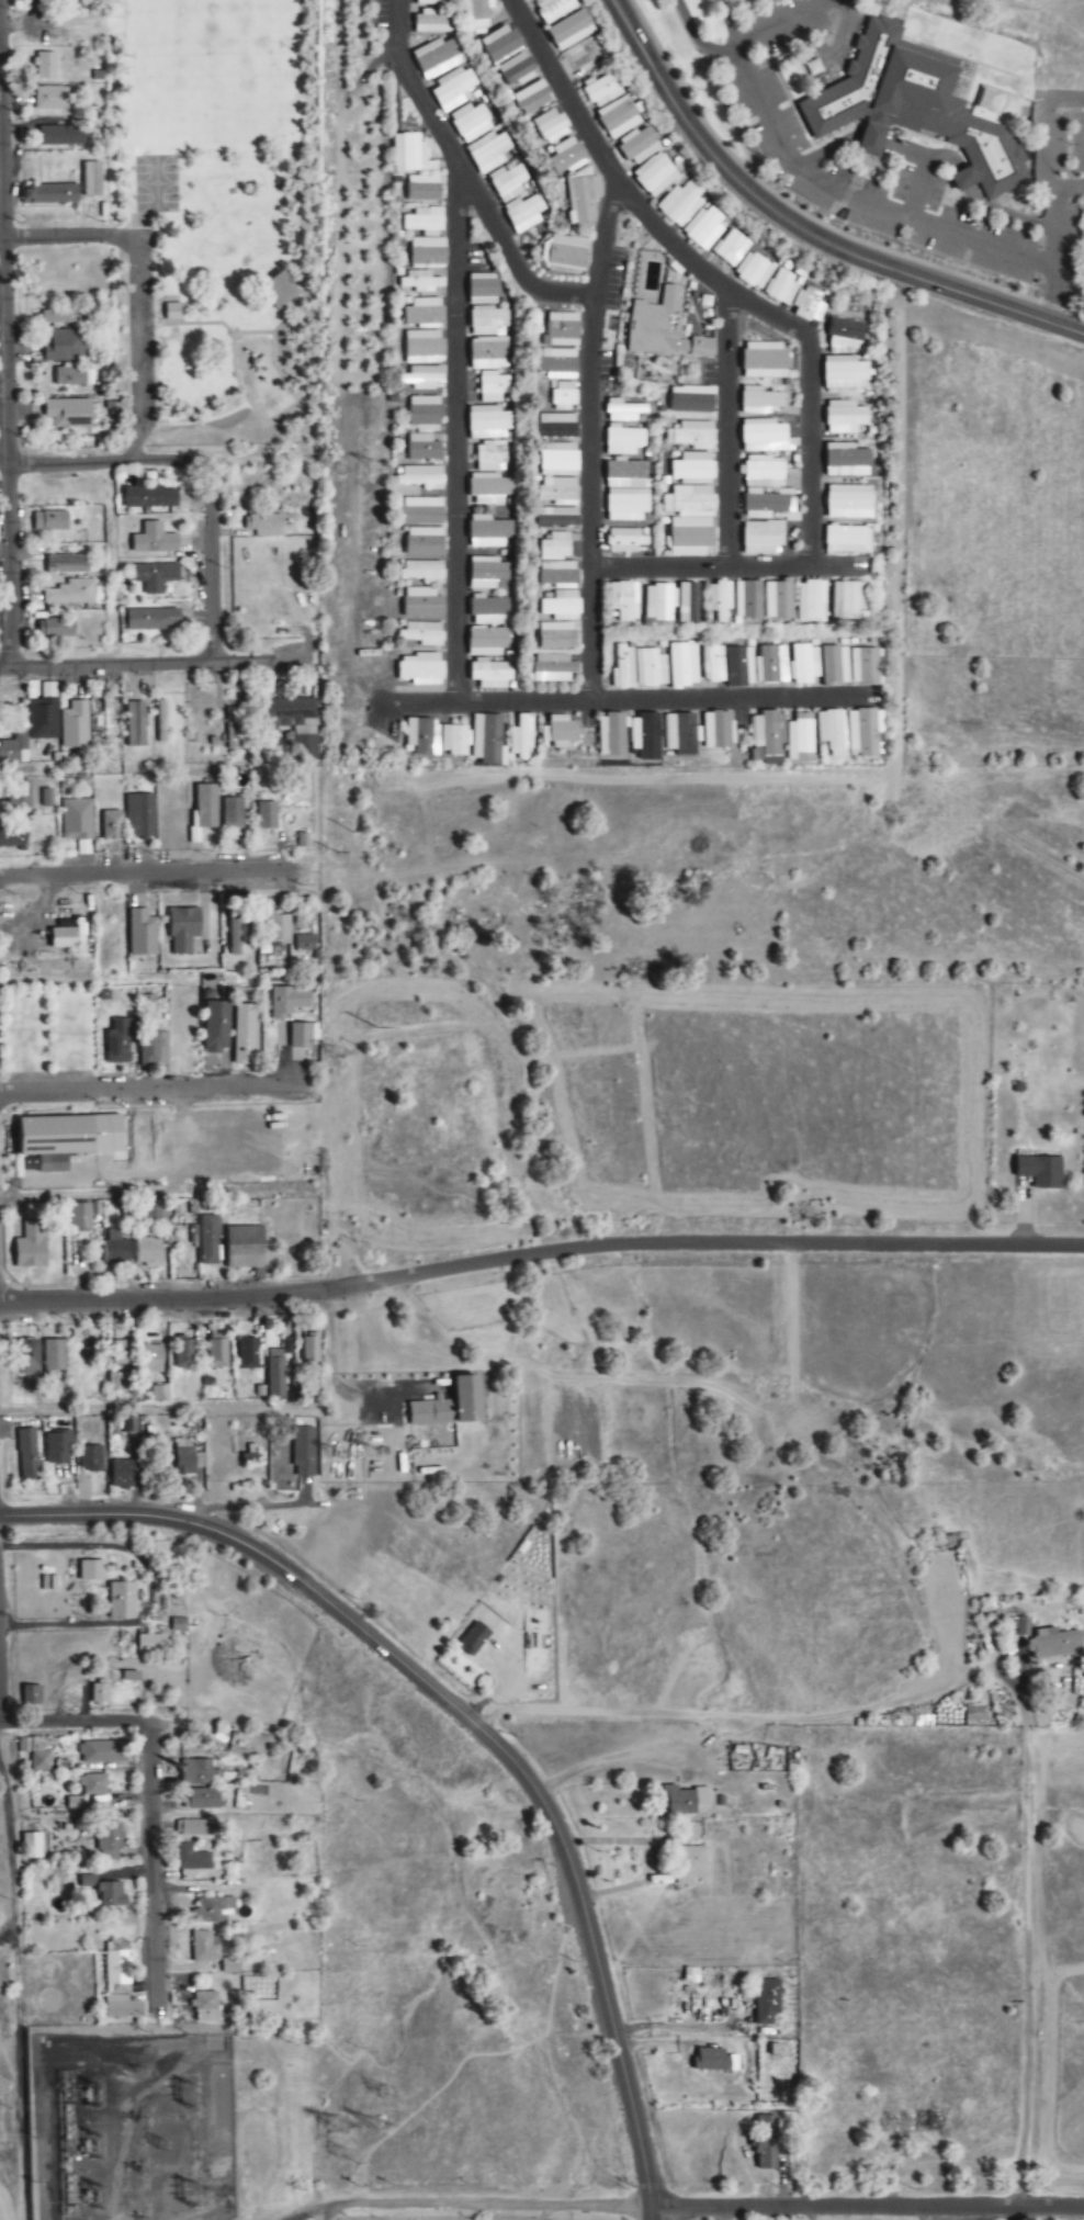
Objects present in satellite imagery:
building: (425, 2)
building: (553, 9)
building: (478, 13)
building: (431, 23)
road: (780, 24)
road: (1, 25)
road: (730, 26)
road: (840, 27)
building: (569, 31)
road: (695, 35)
building: (500, 44)
building: (585, 57)
building: (437, 58)
building: (47, 66)
building: (517, 70)
building: (453, 90)
building: (601, 91)
building: (532, 98)
building: (52, 99)
building: (911, 108)
building: (618, 117)
building: (471, 123)
building: (551, 126)
building: (61, 136)
building: (639, 146)
building: (488, 153)
building: (410, 155)
building: (568, 157)
parking lot: (798, 162)
park: (156, 169)
road: (462, 176)
building: (655, 176)
building: (92, 180)
building: (507, 183)
building: (422, 190)
building: (49, 195)
road: (628, 196)
park: (157, 198)
building: (583, 198)
building: (680, 204)
road: (885, 211)
building: (523, 213)
park: (212, 221)
building: (424, 223)
building: (704, 229)
road: (800, 230)
road: (67, 239)
building: (731, 248)
building: (565, 253)
building: (753, 271)
building: (421, 285)
building: (781, 286)
building: (275, 290)
building: (483, 290)
building: (808, 306)
building: (174, 311)
building: (422, 313)
building: (61, 318)
road: (214, 323)
building: (488, 323)
building: (664, 329)
building: (562, 330)
parking lot: (140, 331)
road: (8, 334)
building: (846, 335)
building: (61, 347)
building: (424, 348)
road: (134, 349)
building: (488, 353)
building: (765, 361)
building: (557, 364)
building: (844, 374)
building: (422, 379)
building: (493, 386)
building: (564, 397)
building: (692, 401)
building: (760, 402)
building: (424, 412)
building: (623, 412)
building: (68, 414)
building: (845, 418)
road: (270, 421)
building: (488, 422)
building: (557, 427)
road: (726, 428)
road: (454, 432)
building: (693, 436)
building: (765, 437)
building: (623, 440)
road: (592, 443)
building: (422, 449)
road: (808, 451)
road: (5, 452)
building: (489, 457)
road: (112, 460)
building: (558, 460)
building: (847, 461)
power tower: (384, 469)
power tower: (346, 470)
building: (693, 470)
building: (420, 478)
building: (763, 488)
building: (489, 489)
building: (626, 492)
building: (558, 493)
building: (146, 497)
building: (690, 503)
building: (849, 504)
building: (420, 511)
building: (50, 522)
building: (263, 526)
building: (488, 532)
building: (690, 538)
building: (761, 539)
building: (154, 540)
building: (846, 540)
building: (624, 541)
building: (424, 542)
building: (555, 548)
road: (215, 561)
road: (112, 563)
building: (67, 565)
road: (727, 566)
building: (421, 572)
building: (488, 574)
building: (557, 575)
building: (155, 577)
building: (70, 594)
building: (720, 600)
building: (624, 601)
building: (779, 601)
building: (848, 601)
building: (747, 602)
building: (422, 604)
building: (660, 604)
building: (812, 604)
building: (561, 607)
building: (489, 610)
building: (153, 620)
building: (56, 624)
building: (424, 634)
building: (556, 636)
building: (488, 642)
road: (153, 664)
building: (714, 665)
building: (771, 665)
building: (804, 665)
building: (684, 666)
building: (836, 666)
building: (741, 667)
building: (865, 667)
building: (650, 668)
building: (552, 669)
building: (623, 669)
building: (419, 670)
building: (490, 675)
road: (628, 701)
building: (42, 719)
building: (106, 720)
building: (161, 721)
building: (135, 724)
building: (75, 725)
building: (233, 729)
building: (718, 730)
building: (561, 731)
building: (832, 732)
building: (681, 733)
building: (866, 733)
building: (612, 735)
building: (645, 735)
building: (422, 736)
building: (522, 736)
building: (769, 736)
building: (801, 739)
building: (454, 740)
building: (488, 740)
building: (14, 750)
building: (20, 797)
building: (203, 809)
building: (235, 813)
building: (139, 815)
building: (267, 815)
building: (76, 820)
building: (112, 825)
building: (13, 835)
building: (302, 841)
building: (82, 848)
road: (156, 876)
building: (279, 928)
building: (183, 929)
building: (142, 933)
building: (236, 933)
building: (68, 935)
building: (305, 946)
road: (126, 979)
building: (289, 1001)
building: (216, 1027)
building: (244, 1034)
building: (300, 1035)
building: (120, 1040)
building: (154, 1049)
power tower: (352, 1056)
power tower: (384, 1058)
road: (149, 1090)
building: (56, 1136)
building: (1041, 1171)
road: (158, 1193)
building: (145, 1212)
building: (80, 1217)
building: (208, 1241)
building: (31, 1247)
building: (245, 1248)
building: (113, 1249)
road: (540, 1252)
building: (148, 1253)
building: (312, 1349)
building: (27, 1353)
building: (123, 1353)
building: (183, 1354)
building: (216, 1354)
building: (248, 1354)
building: (54, 1355)
building: (150, 1360)
building: (276, 1370)
building: (116, 1383)
building: (159, 1393)
building: (450, 1406)
road: (148, 1409)
building: (295, 1423)
building: (58, 1447)
building: (303, 1453)
building: (27, 1454)
power tower: (351, 1454)
power tower: (387, 1455)
building: (90, 1458)
building: (188, 1458)
building: (249, 1458)
building: (122, 1474)
building: (91, 1571)
building: (122, 1601)
road: (70, 1624)
building: (1019, 1626)
building: (475, 1638)
building: (1059, 1643)
building: (150, 1644)
building: (131, 1675)
building: (100, 1694)
road: (719, 1714)
road: (156, 1722)
road: (472, 1724)
building: (103, 1753)
building: (39, 1761)
building: (194, 1772)
building: (92, 1785)
building: (203, 1800)
building: (682, 1801)
building: (194, 1828)
building: (109, 1841)
building: (31, 1846)
building: (191, 1859)
building: (691, 1866)
road: (155, 1871)
building: (111, 1896)
building: (213, 1911)
road: (1021, 1945)
building: (205, 1948)
building: (230, 1965)
building: (117, 1969)
building: (691, 1976)
building: (768, 2002)
building: (205, 2007)
building: (122, 2008)
building: (714, 2062)
power tower: (398, 2098)
power substation: (144, 2129)
power tower: (348, 2138)
power tower: (385, 2142)
building: (765, 2143)
power tower: (364, 2171)
road: (686, 2209)

